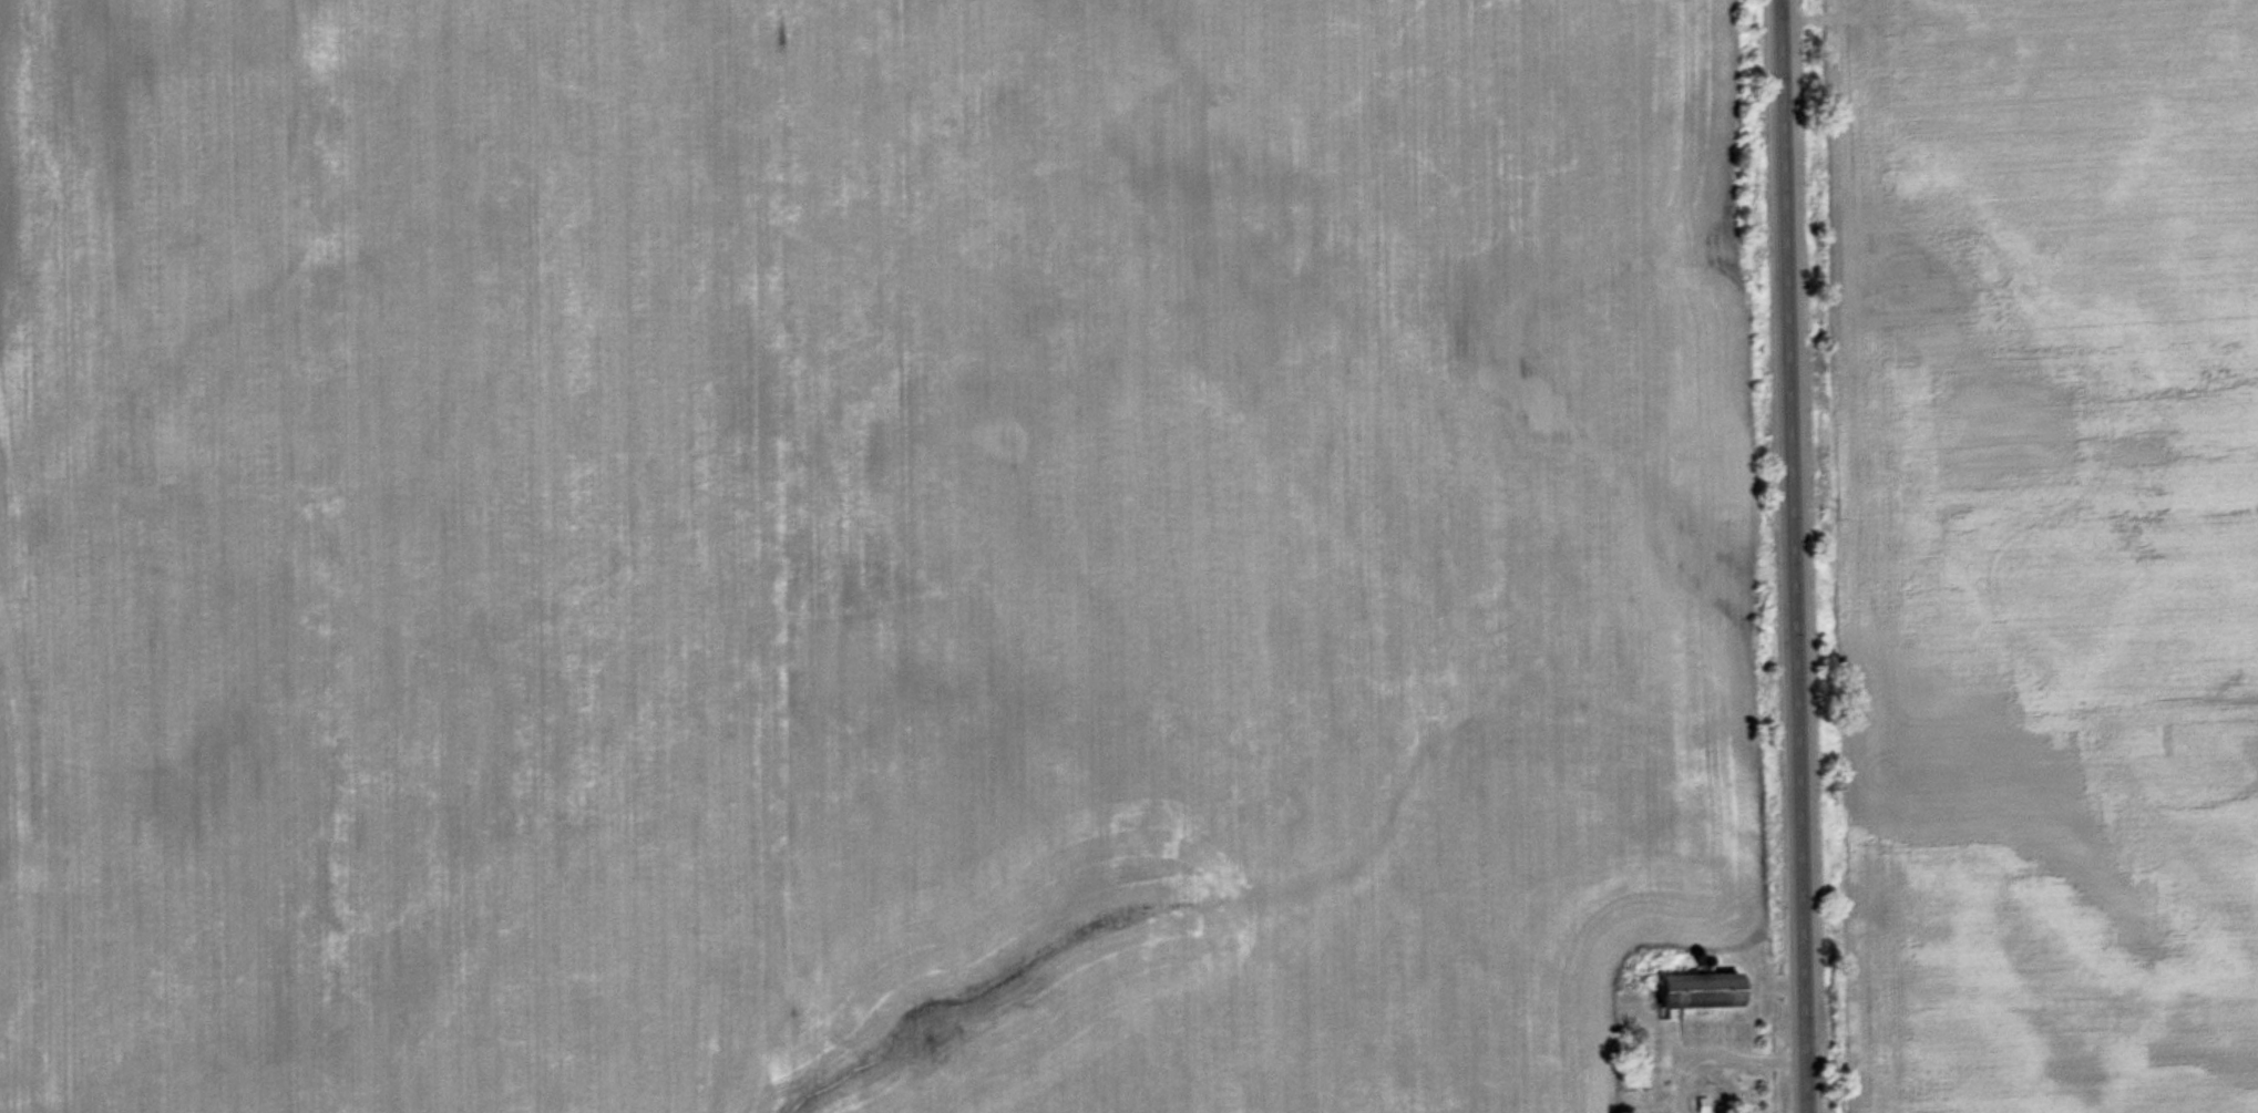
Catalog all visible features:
road: (1795, 556)
building: (1704, 991)

